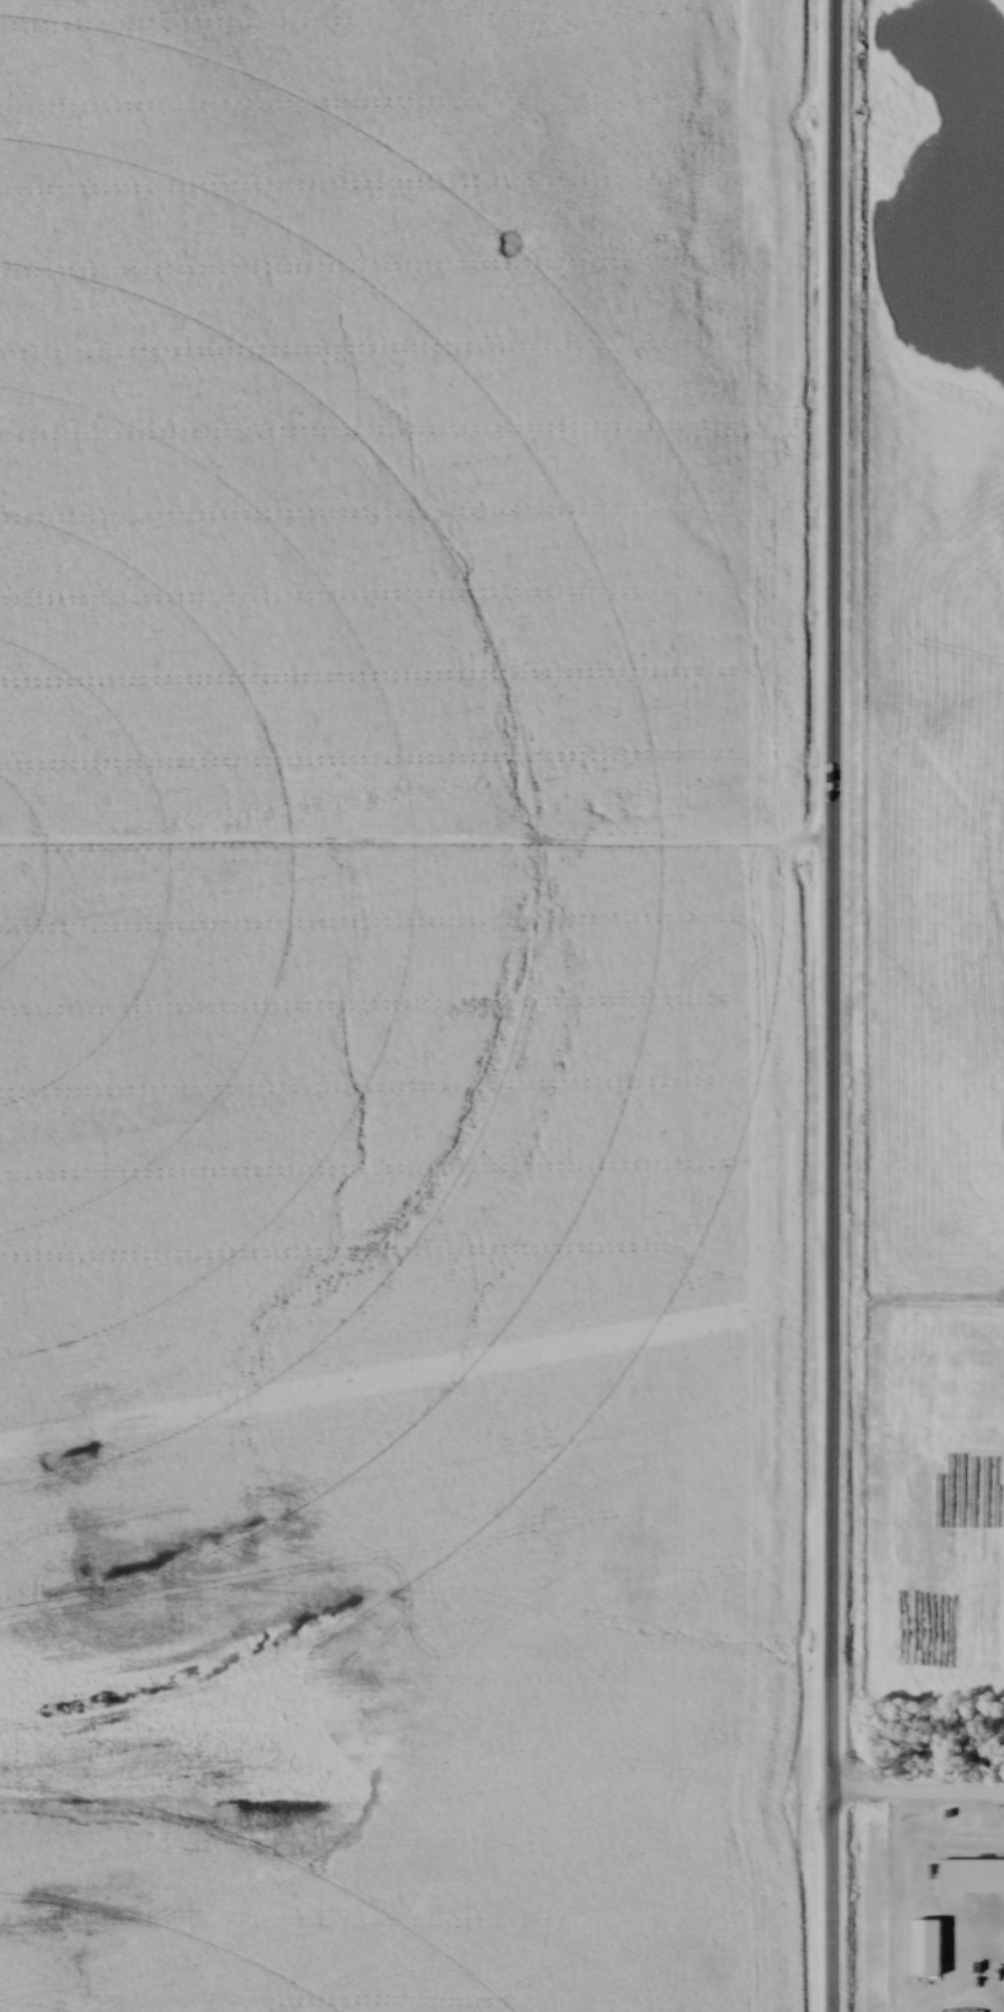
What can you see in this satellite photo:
road: (835, 1006)
road: (919, 1789)

